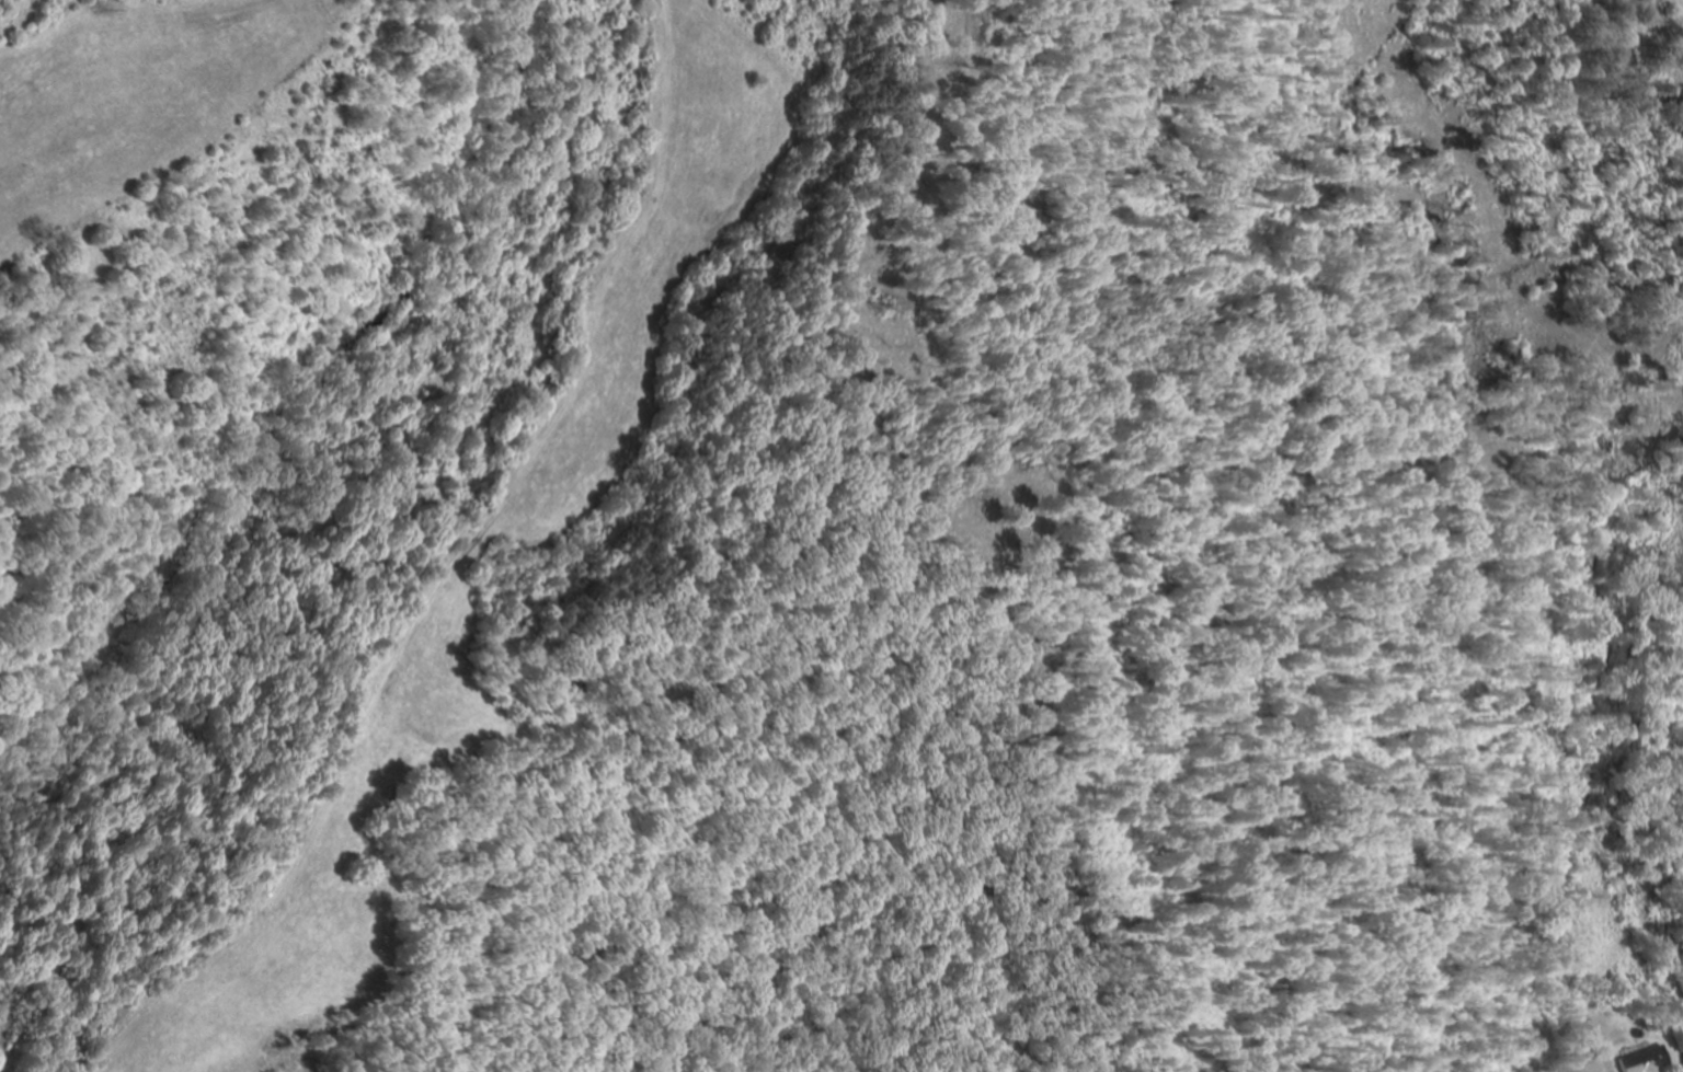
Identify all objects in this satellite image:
building: (1646, 1060)

